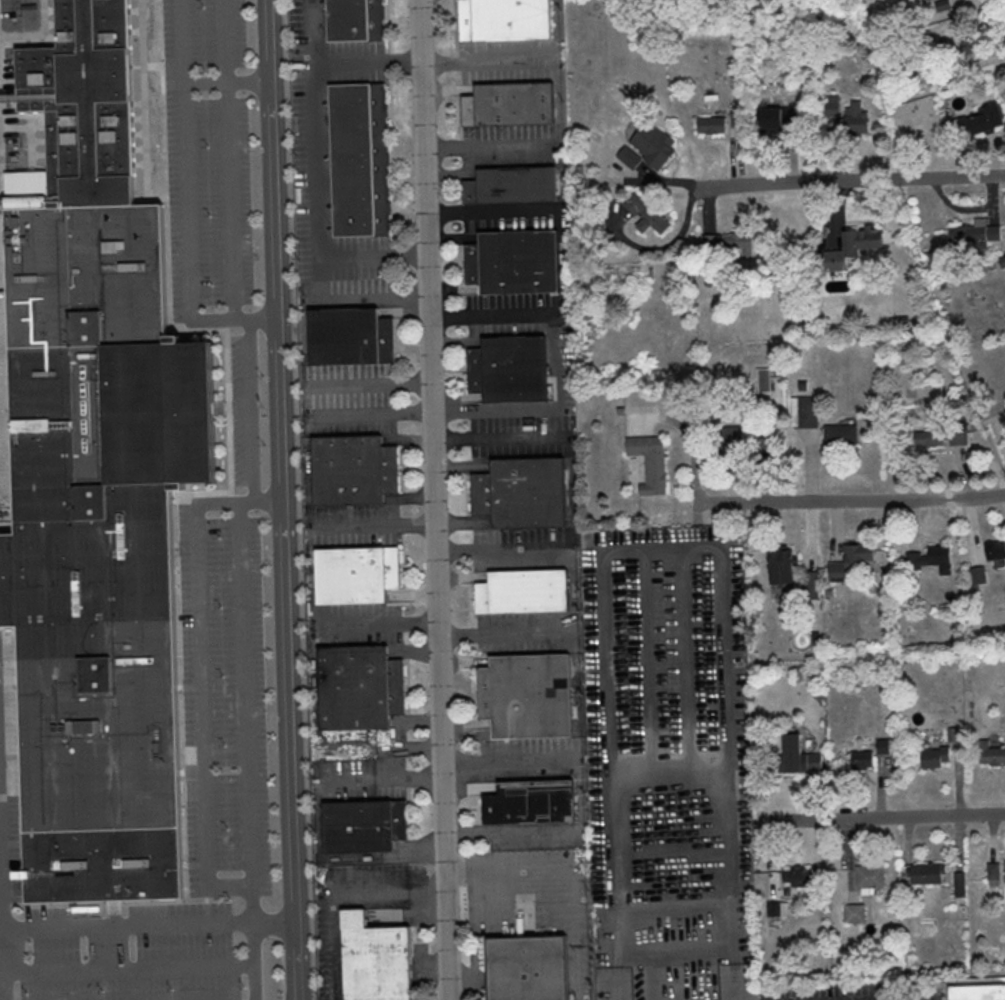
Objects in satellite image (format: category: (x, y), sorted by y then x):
building: (357, 19)
building: (504, 20)
road: (559, 30)
road: (317, 32)
road: (536, 59)
road: (229, 83)
building: (510, 104)
building: (856, 117)
building: (778, 122)
building: (711, 125)
building: (978, 125)
road: (525, 143)
building: (648, 147)
road: (320, 159)
building: (360, 159)
road: (230, 161)
road: (917, 177)
road: (762, 183)
building: (511, 185)
road: (188, 190)
road: (544, 210)
building: (646, 214)
building: (971, 233)
building: (731, 243)
building: (852, 247)
building: (1002, 260)
building: (515, 262)
road: (357, 293)
building: (350, 337)
road: (557, 358)
building: (509, 369)
building: (763, 380)
building: (802, 385)
road: (252, 397)
building: (808, 412)
building: (840, 434)
building: (941, 437)
road: (501, 439)
building: (737, 441)
building: (651, 462)
building: (354, 470)
building: (96, 481)
building: (522, 492)
road: (284, 499)
road: (435, 500)
road: (853, 501)
road: (377, 526)
building: (995, 549)
road: (498, 550)
building: (930, 557)
building: (851, 561)
building: (781, 565)
building: (979, 574)
building: (359, 575)
building: (810, 585)
building: (523, 592)
road: (506, 635)
building: (360, 688)
road: (245, 691)
building: (528, 696)
road: (203, 698)
building: (954, 734)
building: (883, 746)
building: (799, 755)
building: (993, 756)
building: (935, 757)
building: (862, 760)
road: (581, 795)
building: (531, 802)
road: (878, 819)
road: (318, 824)
building: (364, 825)
road: (570, 870)
building: (994, 870)
building: (927, 874)
building: (870, 876)
building: (798, 877)
road: (1, 878)
road: (338, 891)
building: (777, 907)
building: (854, 913)
road: (148, 927)
road: (113, 949)
building: (375, 960)
road: (252, 961)
road: (3, 966)
road: (128, 968)
building: (527, 968)
parking lot: (923, 990)
parking lot: (832, 991)
building: (978, 993)
road: (921, 994)

